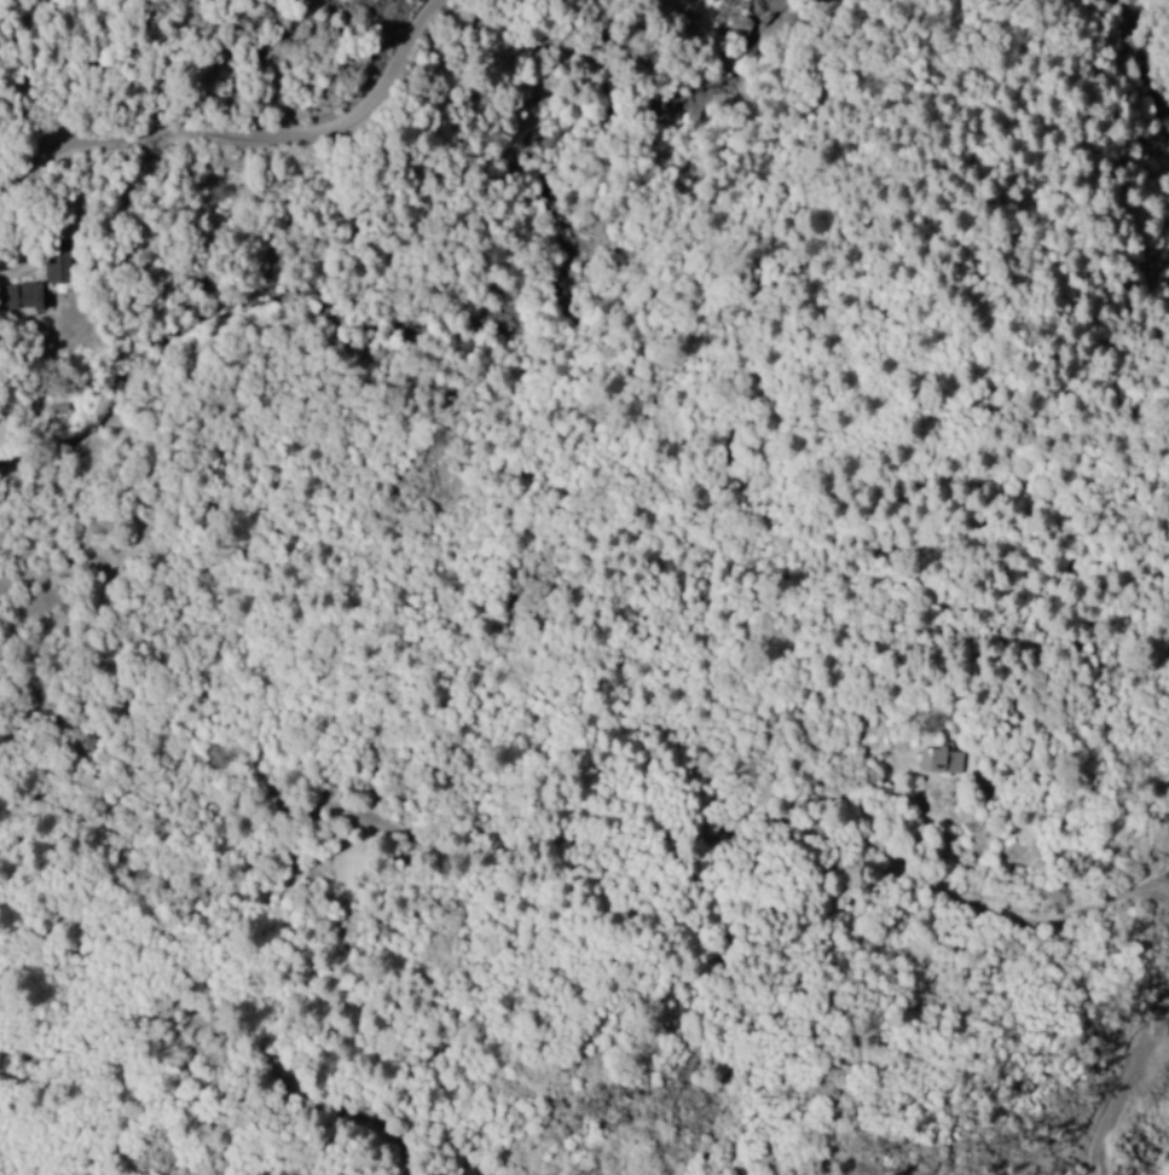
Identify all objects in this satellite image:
road: (249, 134)
building: (19, 299)
building: (939, 762)
road: (575, 843)
road: (1125, 1101)

